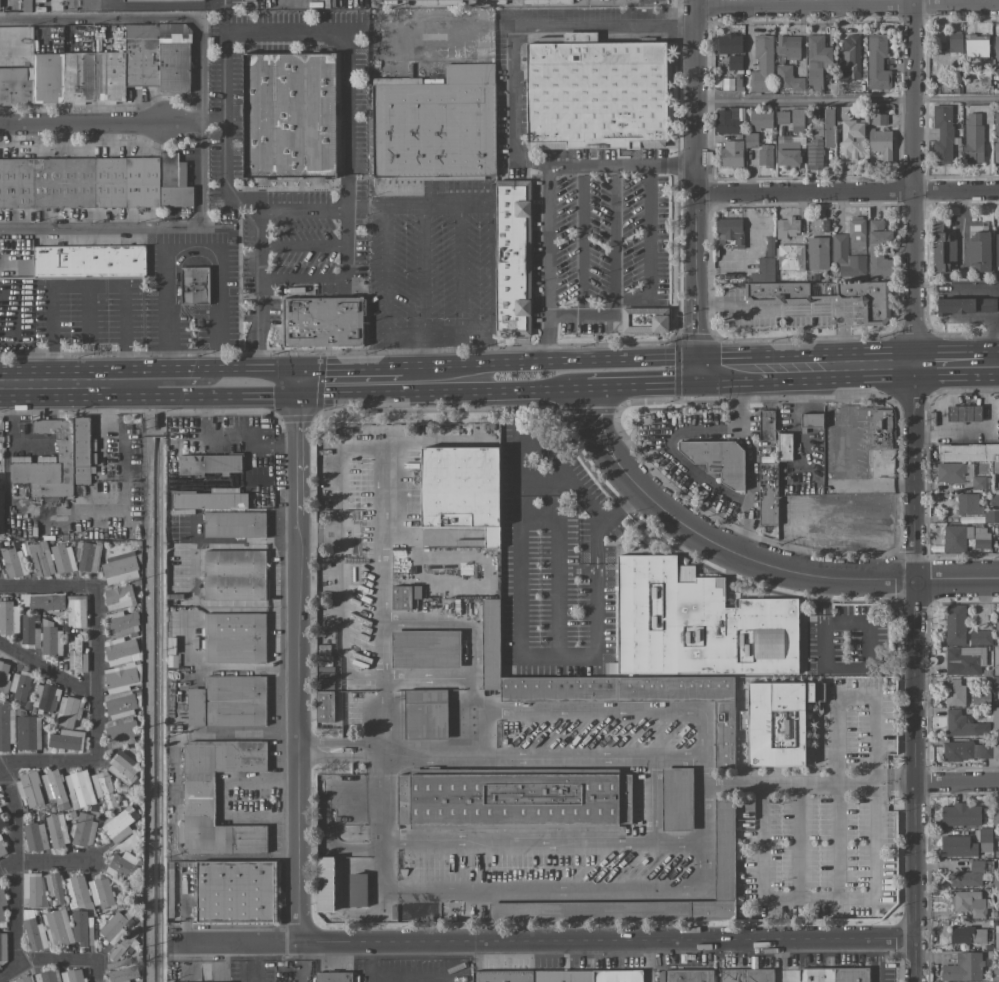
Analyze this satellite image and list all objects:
building: (430, 0)
building: (163, 1)
building: (248, 1)
building: (0, 4)
building: (26, 6)
road: (846, 6)
road: (98, 10)
road: (96, 20)
road: (234, 30)
road: (526, 30)
building: (955, 42)
building: (731, 44)
building: (977, 46)
building: (997, 53)
building: (853, 54)
building: (818, 61)
building: (734, 63)
building: (788, 63)
building: (878, 63)
building: (763, 66)
building: (98, 72)
building: (739, 82)
building: (724, 84)
building: (594, 93)
road: (846, 99)
building: (288, 116)
building: (782, 118)
building: (762, 119)
building: (730, 120)
building: (876, 120)
building: (798, 121)
road: (181, 122)
road: (211, 122)
road: (81, 123)
road: (200, 123)
building: (434, 125)
building: (826, 129)
building: (997, 134)
building: (943, 135)
building: (974, 139)
building: (750, 140)
building: (853, 142)
building: (882, 145)
building: (790, 152)
building: (733, 153)
building: (816, 154)
building: (766, 156)
road: (912, 181)
building: (94, 183)
road: (695, 185)
road: (547, 189)
road: (846, 191)
road: (437, 203)
road: (962, 224)
building: (788, 228)
road: (186, 229)
road: (614, 231)
building: (729, 231)
building: (858, 233)
road: (581, 240)
building: (769, 247)
building: (944, 248)
building: (879, 250)
building: (981, 252)
building: (997, 253)
building: (819, 254)
building: (512, 257)
building: (792, 258)
building: (847, 259)
building: (88, 262)
road: (459, 269)
road: (491, 269)
road: (385, 270)
road: (421, 270)
building: (765, 271)
road: (337, 279)
building: (193, 286)
road: (85, 287)
road: (652, 292)
building: (830, 296)
building: (968, 306)
road: (793, 309)
building: (321, 320)
building: (644, 320)
road: (169, 322)
road: (456, 335)
road: (404, 336)
road: (422, 351)
road: (562, 360)
road: (987, 361)
road: (943, 362)
road: (840, 364)
road: (359, 366)
road: (231, 368)
road: (278, 368)
traffic signals: (296, 368)
road: (757, 368)
road: (722, 370)
traffic signals: (699, 371)
road: (296, 384)
road: (80, 386)
road: (185, 386)
road: (647, 386)
road: (444, 394)
road: (250, 399)
traffic signals: (296, 400)
building: (967, 414)
building: (810, 423)
road: (840, 424)
building: (765, 425)
building: (879, 430)
building: (784, 446)
road: (673, 452)
building: (969, 452)
building: (57, 459)
building: (717, 459)
building: (208, 464)
building: (996, 468)
building: (960, 474)
road: (548, 477)
road: (877, 483)
building: (996, 483)
building: (460, 490)
building: (767, 494)
building: (209, 499)
building: (994, 499)
building: (969, 504)
building: (993, 516)
building: (234, 525)
road: (744, 529)
building: (957, 538)
building: (982, 538)
building: (86, 556)
building: (62, 558)
road: (750, 558)
building: (40, 559)
building: (12, 563)
road: (557, 567)
building: (119, 568)
road: (576, 570)
building: (234, 575)
road: (594, 585)
road: (48, 586)
building: (118, 597)
building: (404, 597)
building: (42, 601)
road: (517, 601)
building: (76, 610)
building: (8, 618)
road: (414, 623)
building: (696, 623)
building: (121, 624)
building: (997, 624)
building: (954, 625)
building: (29, 631)
building: (980, 637)
building: (234, 638)
building: (50, 639)
road: (96, 640)
building: (490, 644)
building: (425, 649)
building: (118, 650)
building: (77, 657)
building: (995, 659)
building: (963, 660)
road: (48, 667)
road: (296, 671)
road: (913, 672)
building: (4, 677)
building: (121, 677)
building: (995, 683)
building: (20, 685)
building: (954, 692)
building: (635, 697)
building: (45, 698)
building: (227, 702)
building: (121, 705)
building: (324, 706)
building: (68, 711)
road: (613, 713)
building: (425, 715)
building: (993, 721)
building: (777, 722)
building: (6, 724)
building: (959, 724)
building: (26, 730)
building: (121, 732)
road: (487, 738)
building: (66, 740)
building: (968, 750)
road: (542, 757)
road: (81, 763)
building: (123, 768)
road: (956, 780)
road: (807, 782)
building: (29, 789)
building: (79, 789)
building: (103, 789)
building: (54, 790)
road: (383, 794)
building: (198, 796)
road: (223, 798)
building: (676, 799)
road: (651, 800)
building: (513, 801)
building: (995, 814)
building: (961, 815)
building: (2, 820)
building: (118, 823)
building: (82, 830)
building: (56, 831)
building: (34, 837)
road: (542, 841)
building: (1, 847)
building: (958, 847)
road: (336, 851)
building: (998, 851)
road: (44, 861)
building: (121, 867)
road: (13, 868)
building: (720, 868)
building: (968, 876)
building: (324, 884)
building: (54, 887)
building: (32, 890)
building: (357, 890)
road: (604, 890)
building: (235, 891)
building: (100, 892)
building: (77, 893)
building: (1, 903)
building: (970, 903)
building: (664, 910)
building: (114, 927)
building: (56, 928)
building: (81, 928)
building: (34, 934)
building: (968, 935)
building: (996, 939)
road: (539, 941)
building: (124, 945)
building: (2, 948)
road: (878, 960)
road: (46, 961)
building: (965, 968)
road: (97, 971)
building: (122, 975)
building: (688, 975)
building: (745, 975)
building: (833, 975)
building: (996, 975)
building: (47, 976)
building: (71, 976)
building: (557, 976)
building: (332, 977)
building: (22, 979)
road: (412, 979)

